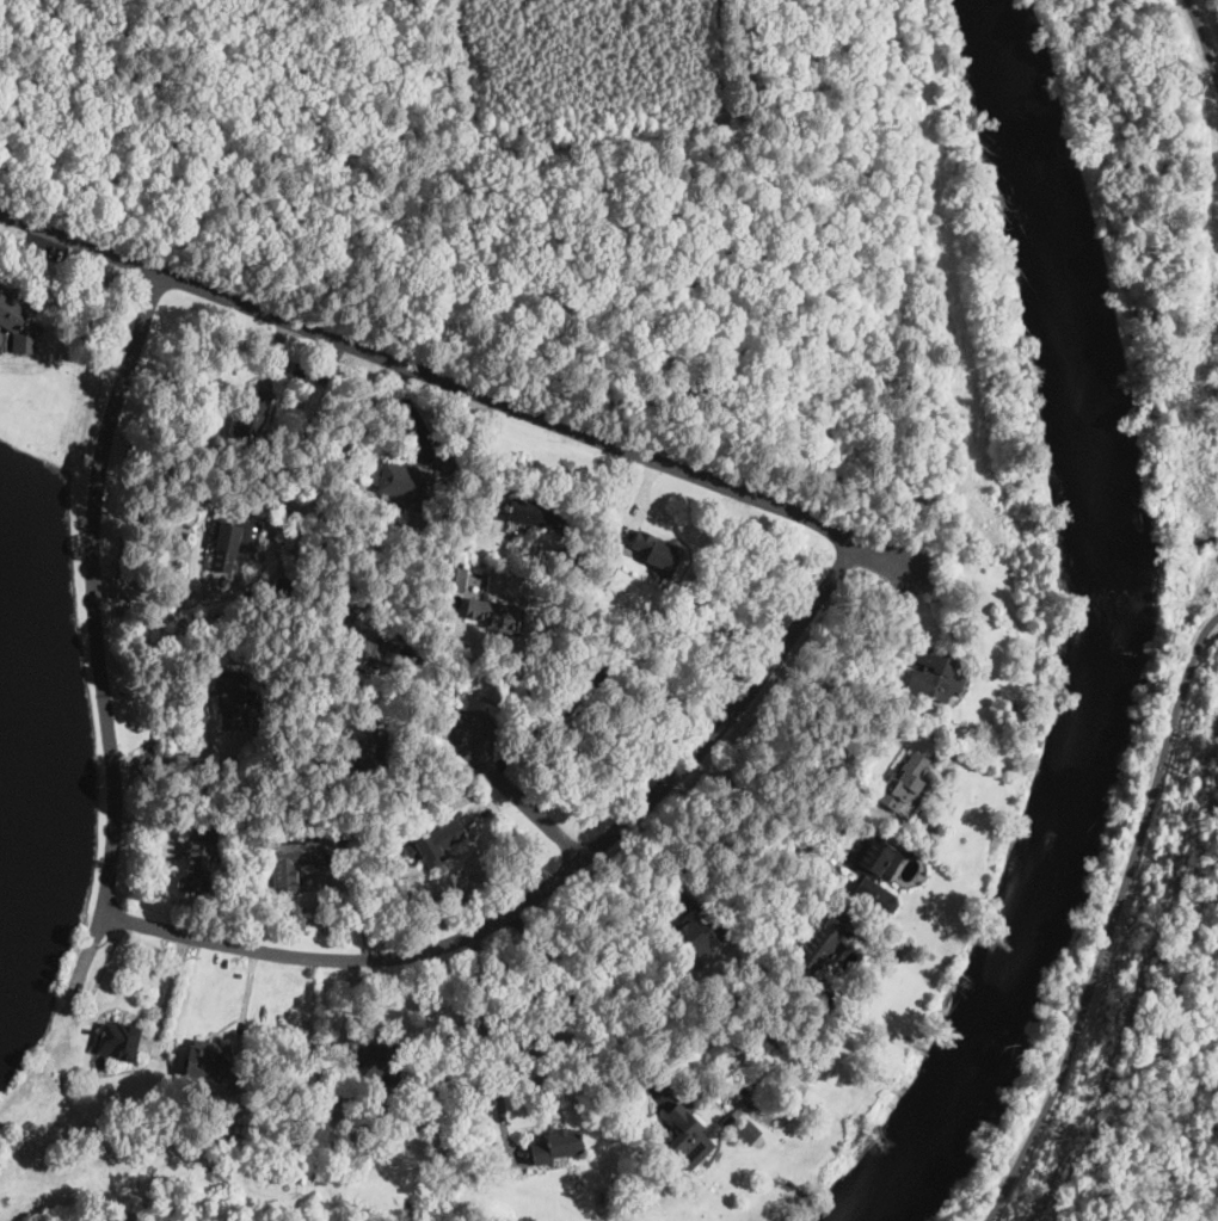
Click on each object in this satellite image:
road: (1204, 44)
park: (583, 211)
building: (19, 322)
road: (459, 386)
building: (316, 402)
building: (253, 415)
building: (442, 457)
building: (406, 485)
building: (531, 513)
building: (229, 544)
building: (656, 550)
building: (568, 559)
building: (608, 574)
building: (455, 580)
building: (283, 590)
road: (91, 592)
road: (152, 598)
building: (338, 602)
building: (346, 613)
park: (1186, 613)
building: (498, 616)
river: (1100, 631)
building: (373, 652)
road: (469, 671)
building: (936, 674)
building: (582, 687)
road: (841, 690)
building: (232, 701)
road: (427, 728)
building: (371, 758)
building: (903, 783)
road: (518, 802)
road: (765, 802)
road: (152, 824)
road: (749, 835)
building: (437, 844)
building: (304, 852)
building: (202, 855)
building: (874, 876)
road: (548, 886)
road: (1108, 929)
building: (699, 930)
building: (825, 943)
building: (829, 999)
road: (574, 1000)
building: (122, 1041)
road: (491, 1047)
building: (208, 1062)
building: (377, 1063)
building: (749, 1079)
building: (753, 1086)
building: (742, 1087)
building: (327, 1099)
building: (800, 1106)
building: (731, 1118)
building: (749, 1130)
building: (684, 1136)
building: (558, 1146)

